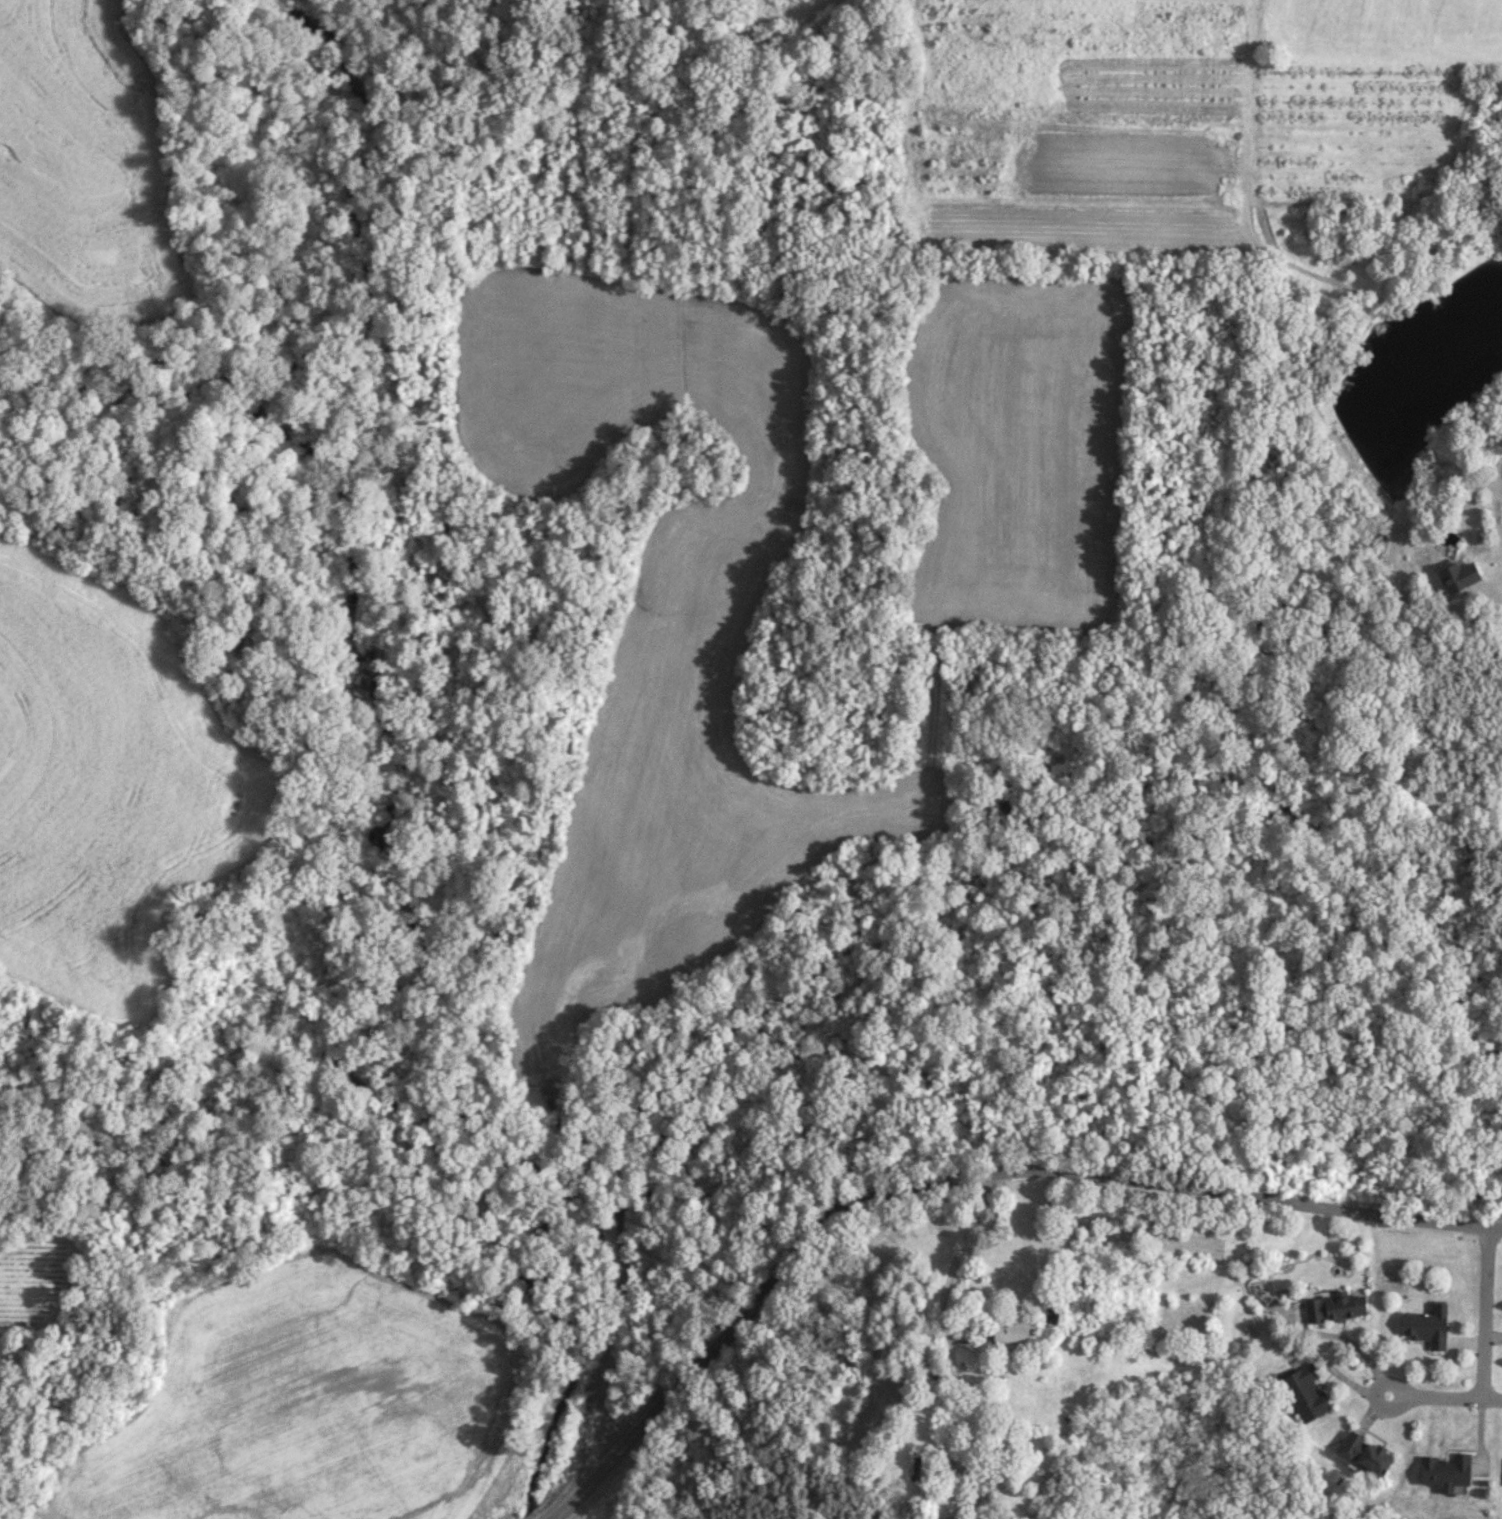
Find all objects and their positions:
road: (1491, 529)
building: (1454, 576)
road: (1500, 601)
road: (949, 1180)
road: (1495, 1227)
road: (950, 1269)
building: (1333, 1307)
road: (1483, 1313)
building: (1423, 1327)
building: (1007, 1332)
building: (1302, 1393)
road: (1376, 1393)
road: (1451, 1398)
building: (1360, 1455)
building: (910, 1467)
building: (1439, 1472)
building: (1501, 1477)

